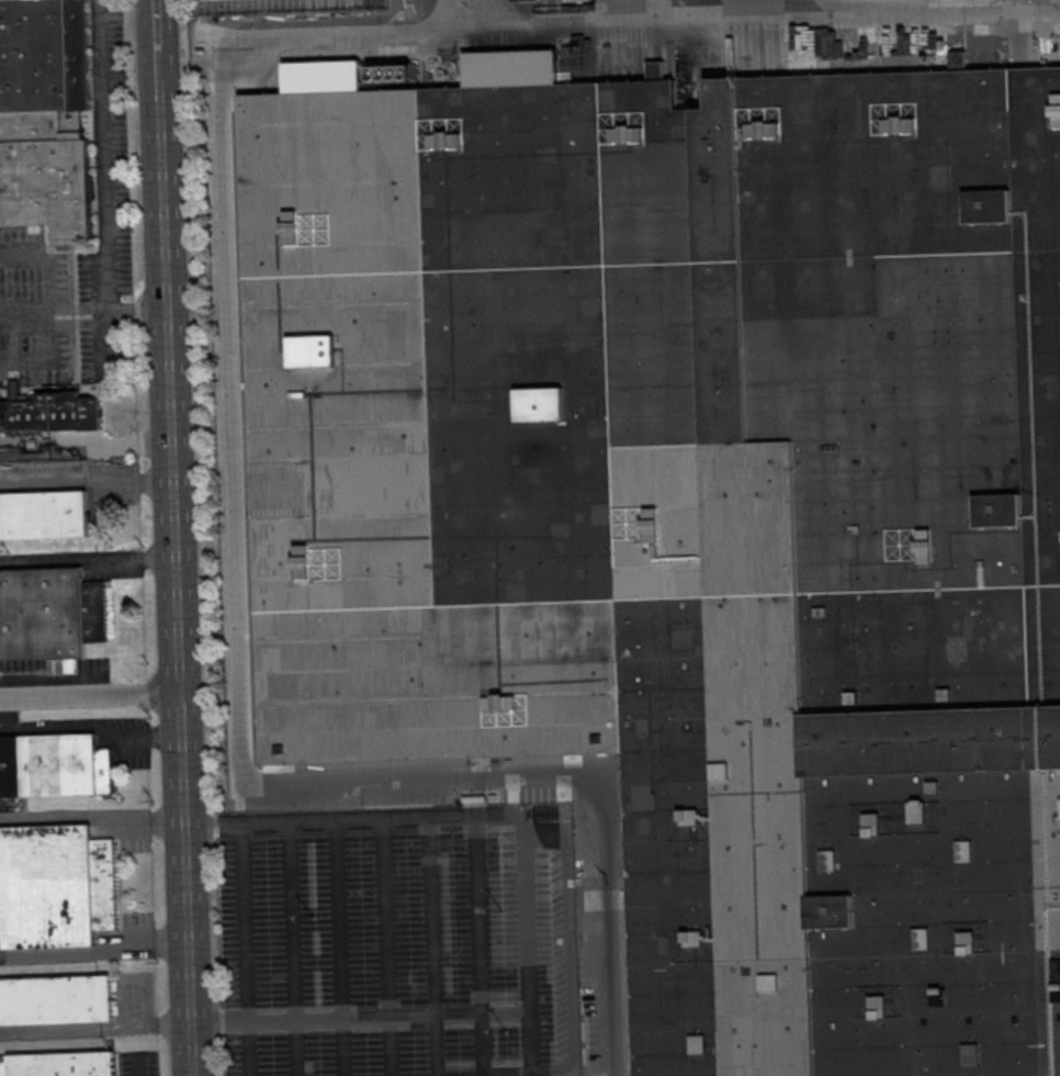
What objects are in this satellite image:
parking lot: (284, 9)
road: (471, 15)
road: (155, 26)
building: (44, 117)
road: (104, 187)
road: (45, 258)
road: (24, 307)
road: (229, 324)
building: (50, 413)
road: (84, 478)
building: (691, 513)
building: (43, 516)
road: (88, 560)
road: (2, 563)
road: (172, 564)
building: (49, 613)
road: (46, 677)
road: (88, 697)
building: (53, 764)
road: (90, 818)
road: (541, 837)
building: (55, 885)
parking lot: (410, 926)
road: (478, 943)
road: (385, 946)
road: (432, 946)
road: (243, 949)
road: (291, 949)
road: (336, 949)
road: (92, 951)
road: (523, 954)
building: (56, 999)
road: (357, 1012)
road: (93, 1031)
building: (57, 1064)

